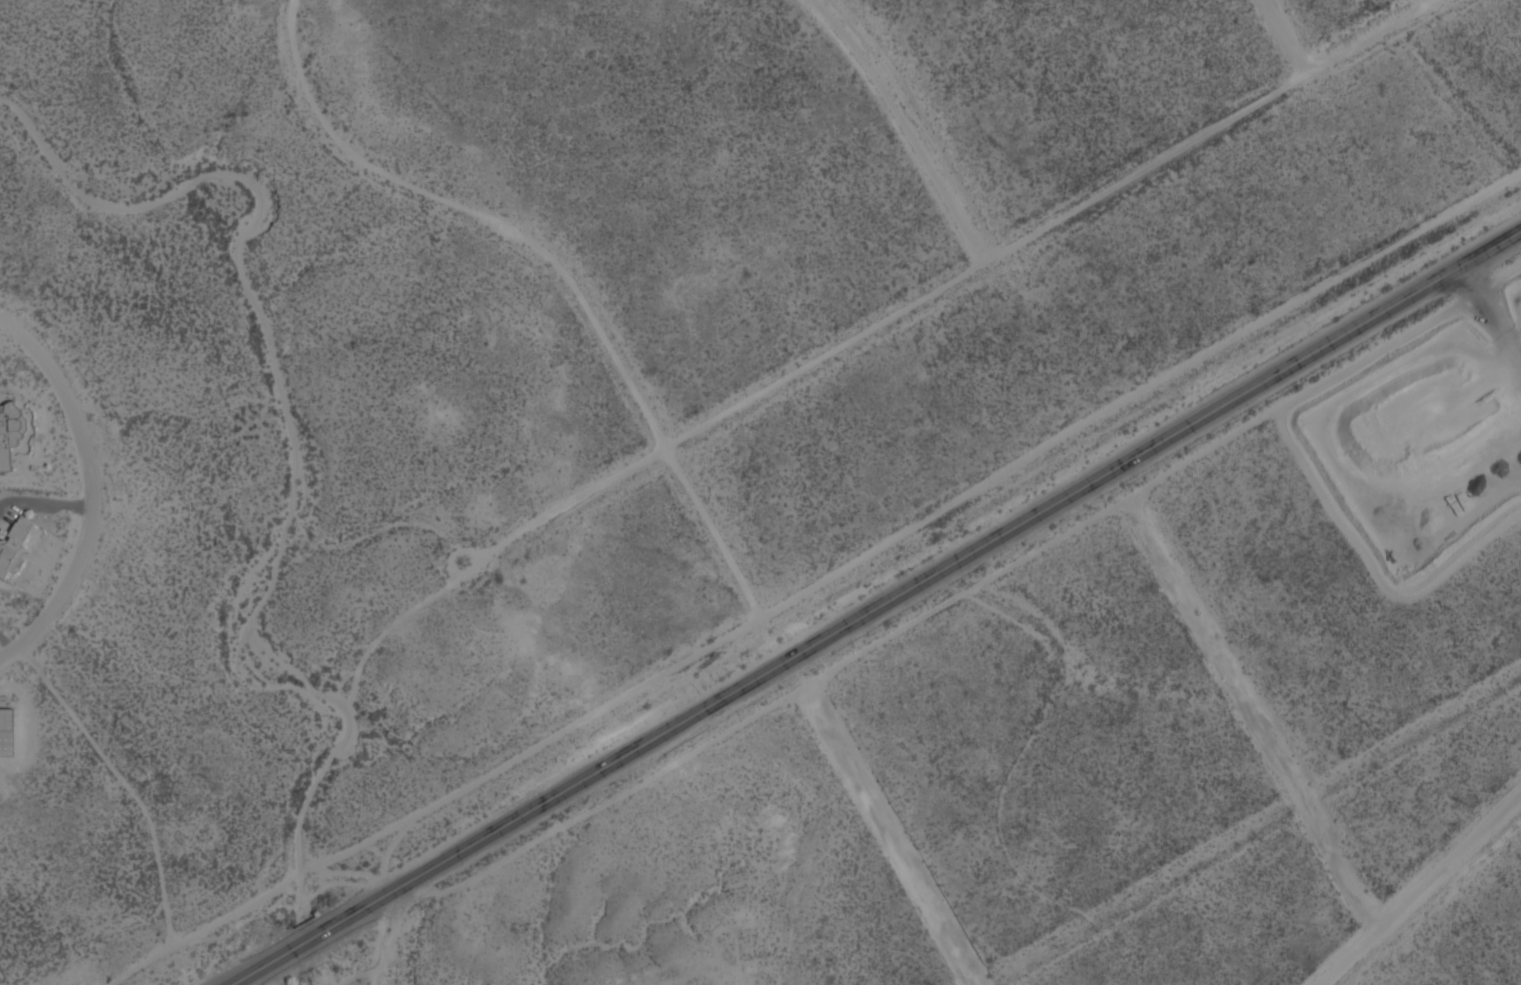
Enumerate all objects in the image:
road: (1290, 32)
road: (907, 125)
road: (996, 251)
road: (1496, 315)
building: (10, 432)
road: (81, 491)
building: (13, 546)
road: (789, 603)
road: (939, 605)
road: (871, 611)
road: (1255, 713)
road: (85, 729)
building: (7, 732)
road: (891, 834)
road: (1422, 891)

